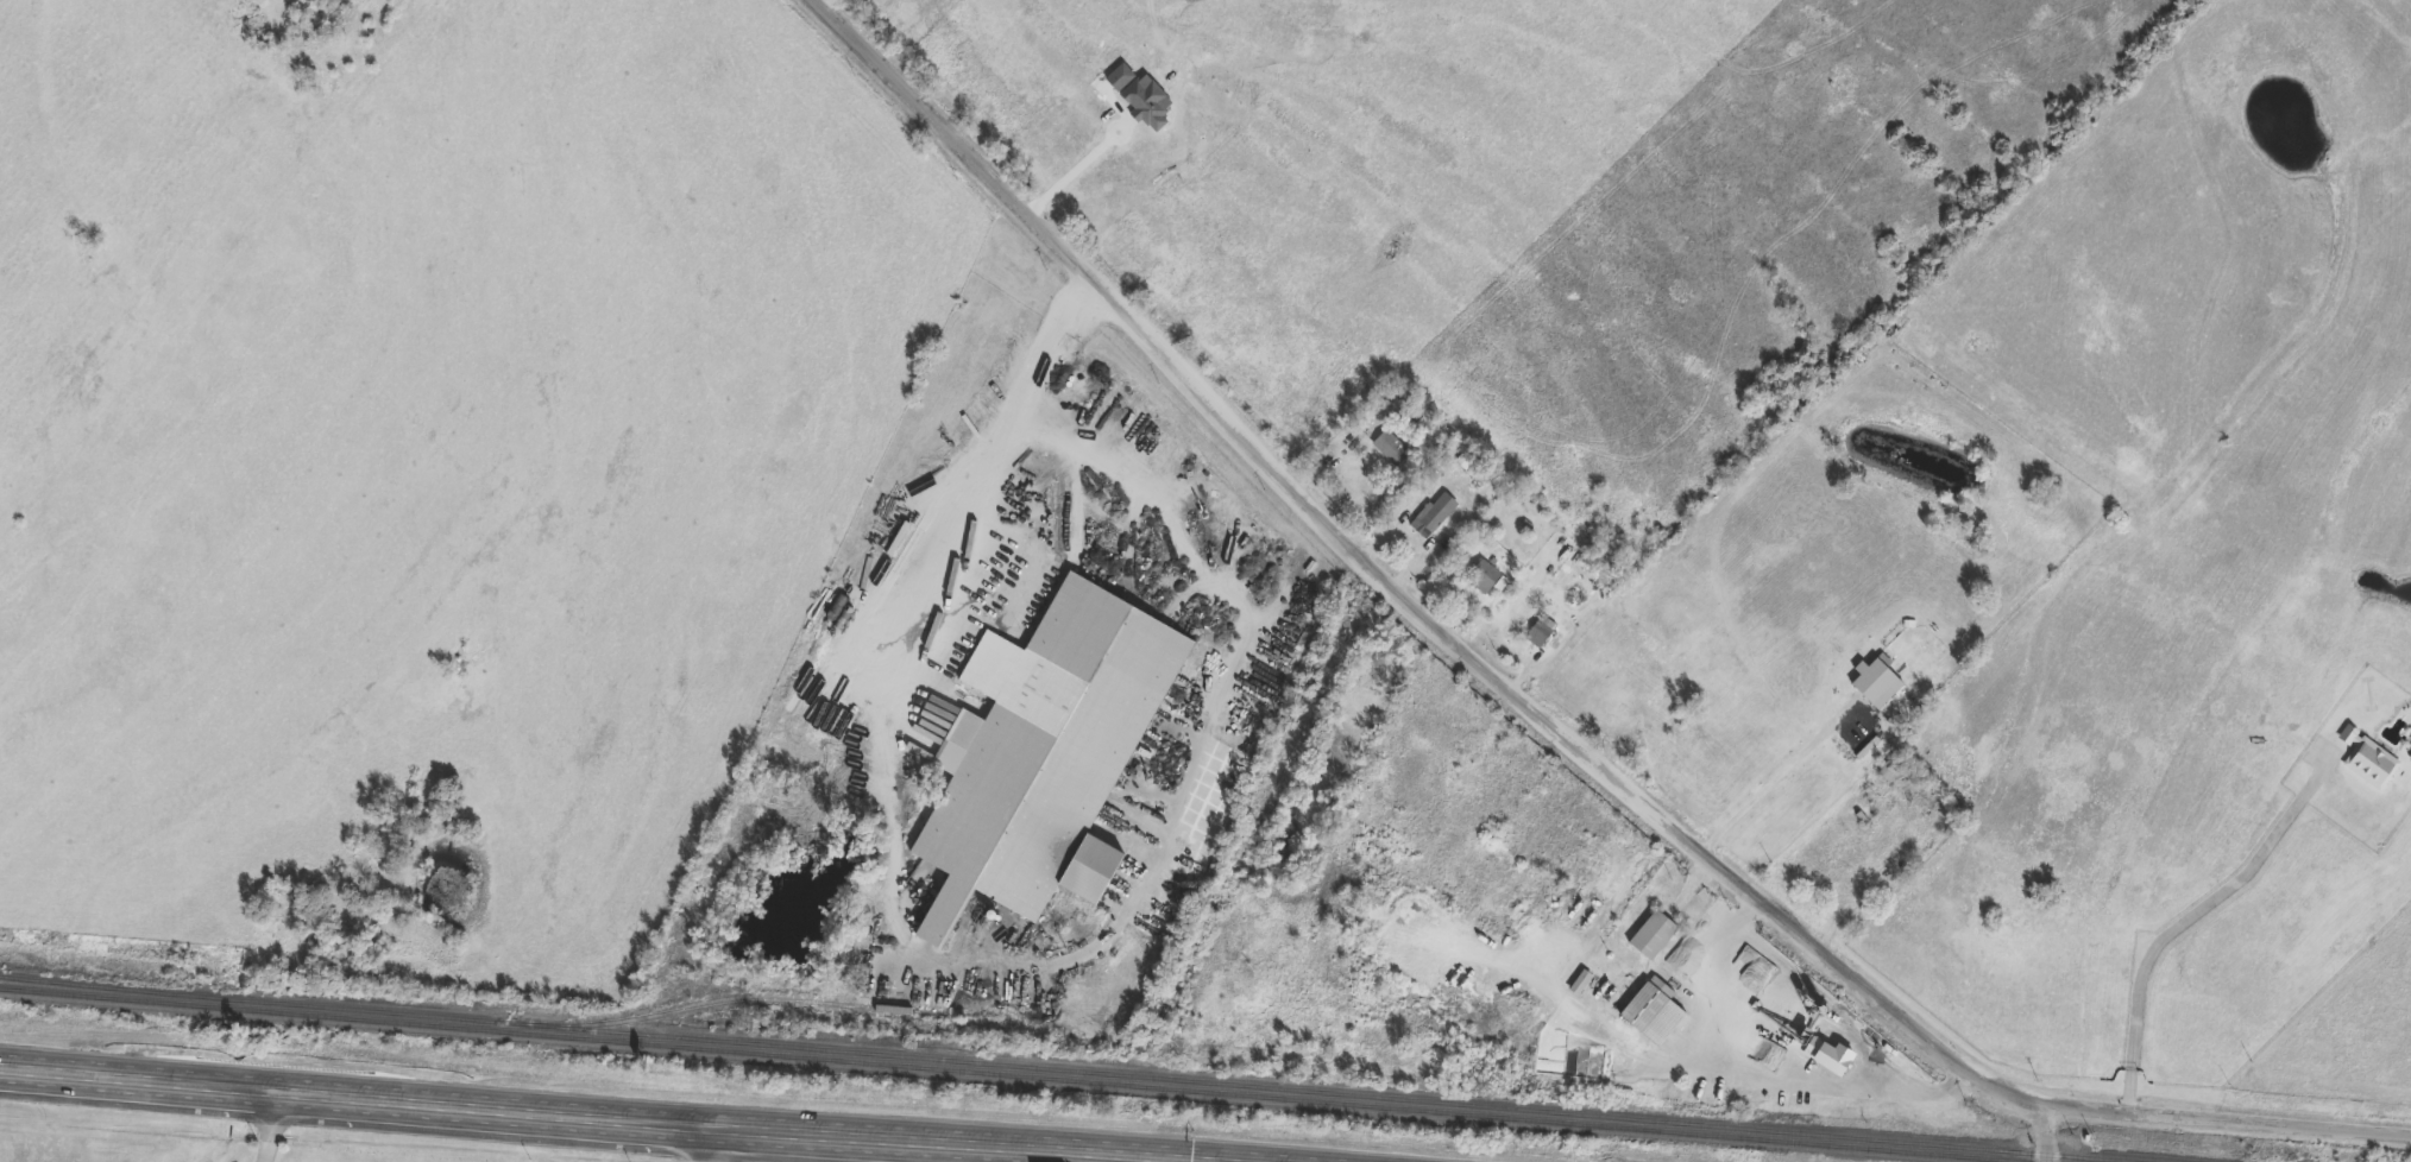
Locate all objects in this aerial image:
road: (830, 5)
building: (1144, 106)
road: (1082, 166)
road: (1009, 438)
building: (1389, 448)
building: (1433, 517)
building: (1485, 579)
building: (1540, 633)
building: (1556, 644)
building: (1872, 684)
road: (1532, 714)
building: (2409, 756)
building: (2367, 762)
road: (1776, 784)
building: (1085, 872)
road: (2191, 921)
building: (1650, 937)
building: (1578, 985)
railway: (734, 1000)
building: (1650, 1012)
road: (1693, 1030)
building: (1825, 1057)
railway: (1059, 1071)
railway: (1011, 1075)
road: (1828, 1086)
road: (536, 1118)
road: (275, 1129)
road: (2051, 1133)
road: (703, 1148)

